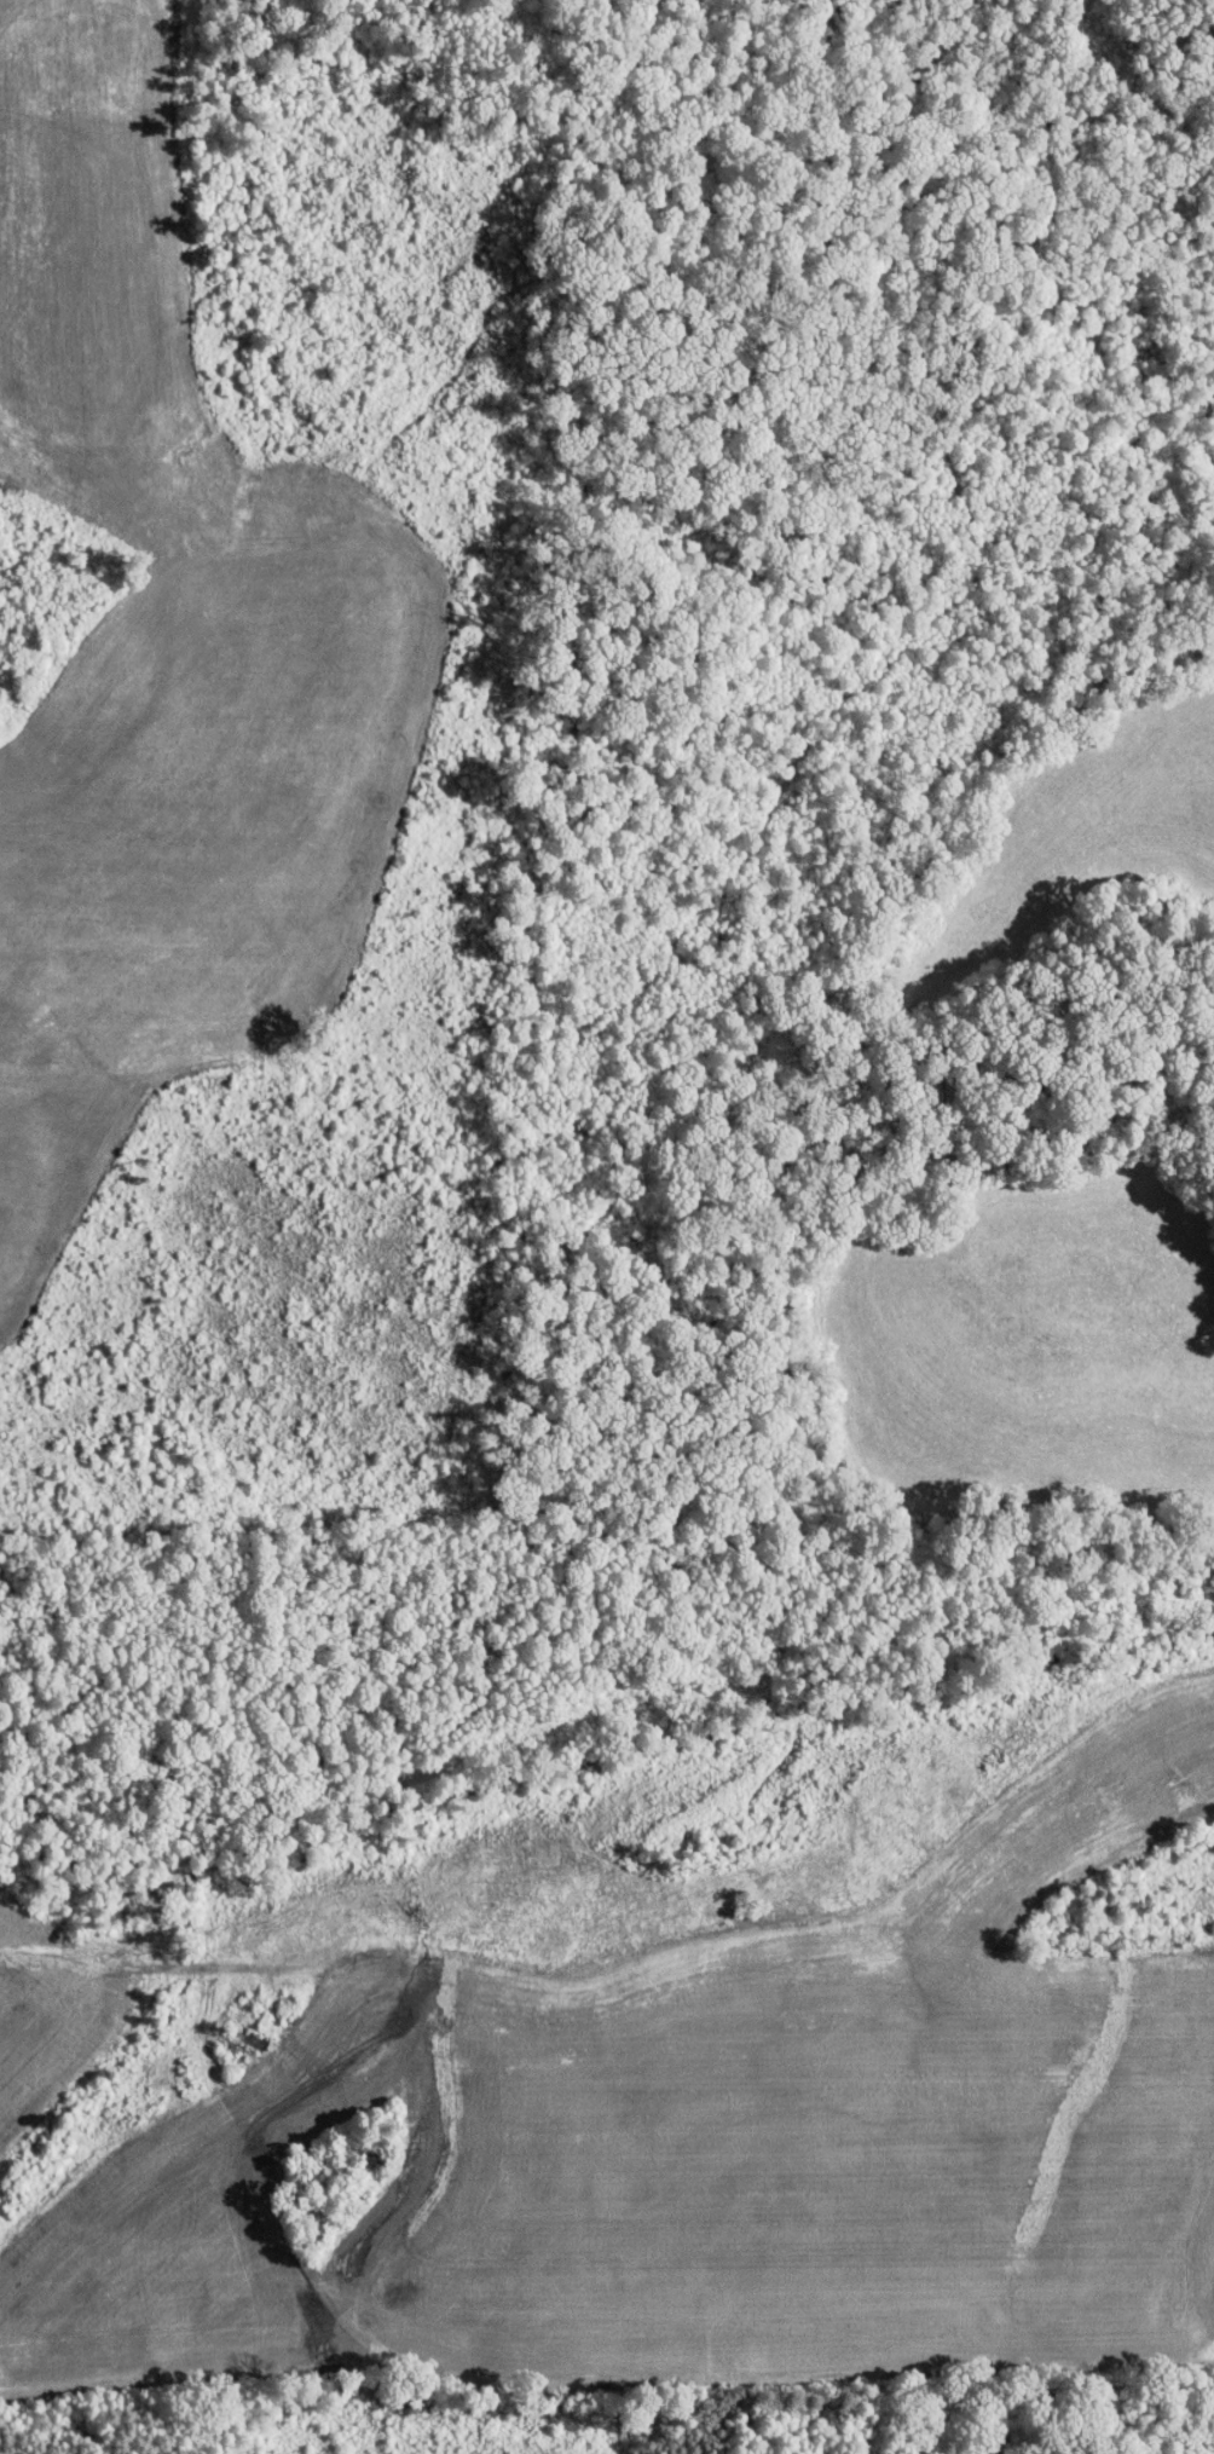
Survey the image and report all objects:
road: (450, 2390)

